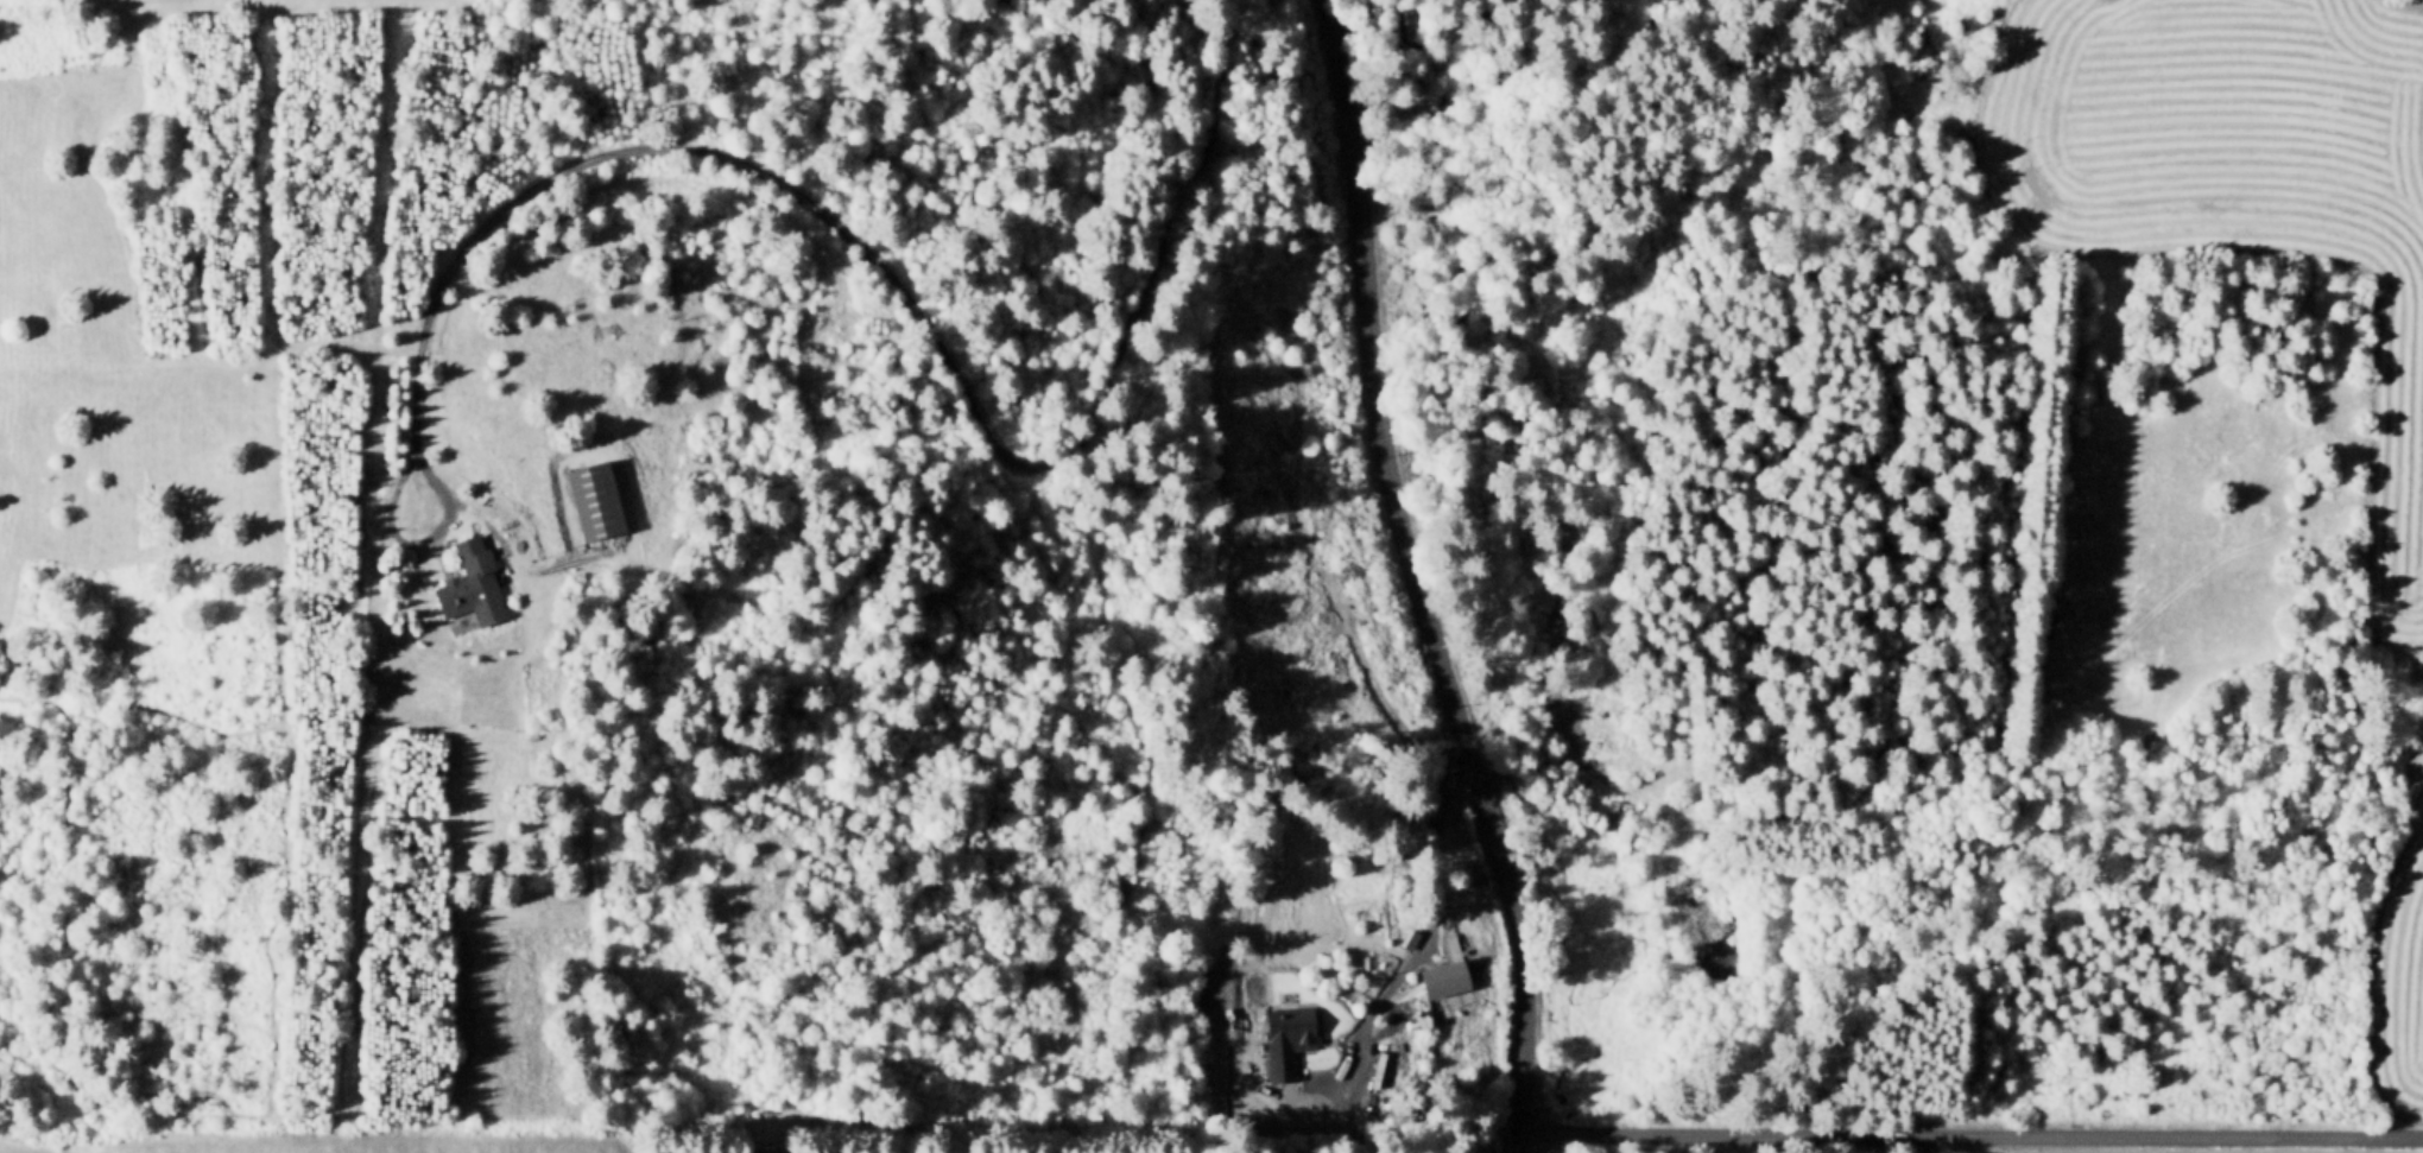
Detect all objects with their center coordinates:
crop: (254, 6)
road: (906, 294)
road: (289, 340)
building: (595, 495)
crop: (2372, 507)
road: (482, 509)
road: (416, 536)
road: (641, 563)
road: (1417, 579)
building: (473, 581)
building: (1552, 745)
building: (1605, 752)
building: (1611, 816)
building: (1697, 832)
building: (1404, 938)
road: (1406, 957)
building: (1436, 976)
building: (1280, 1038)
road: (1969, 1134)
crop: (361, 1144)

